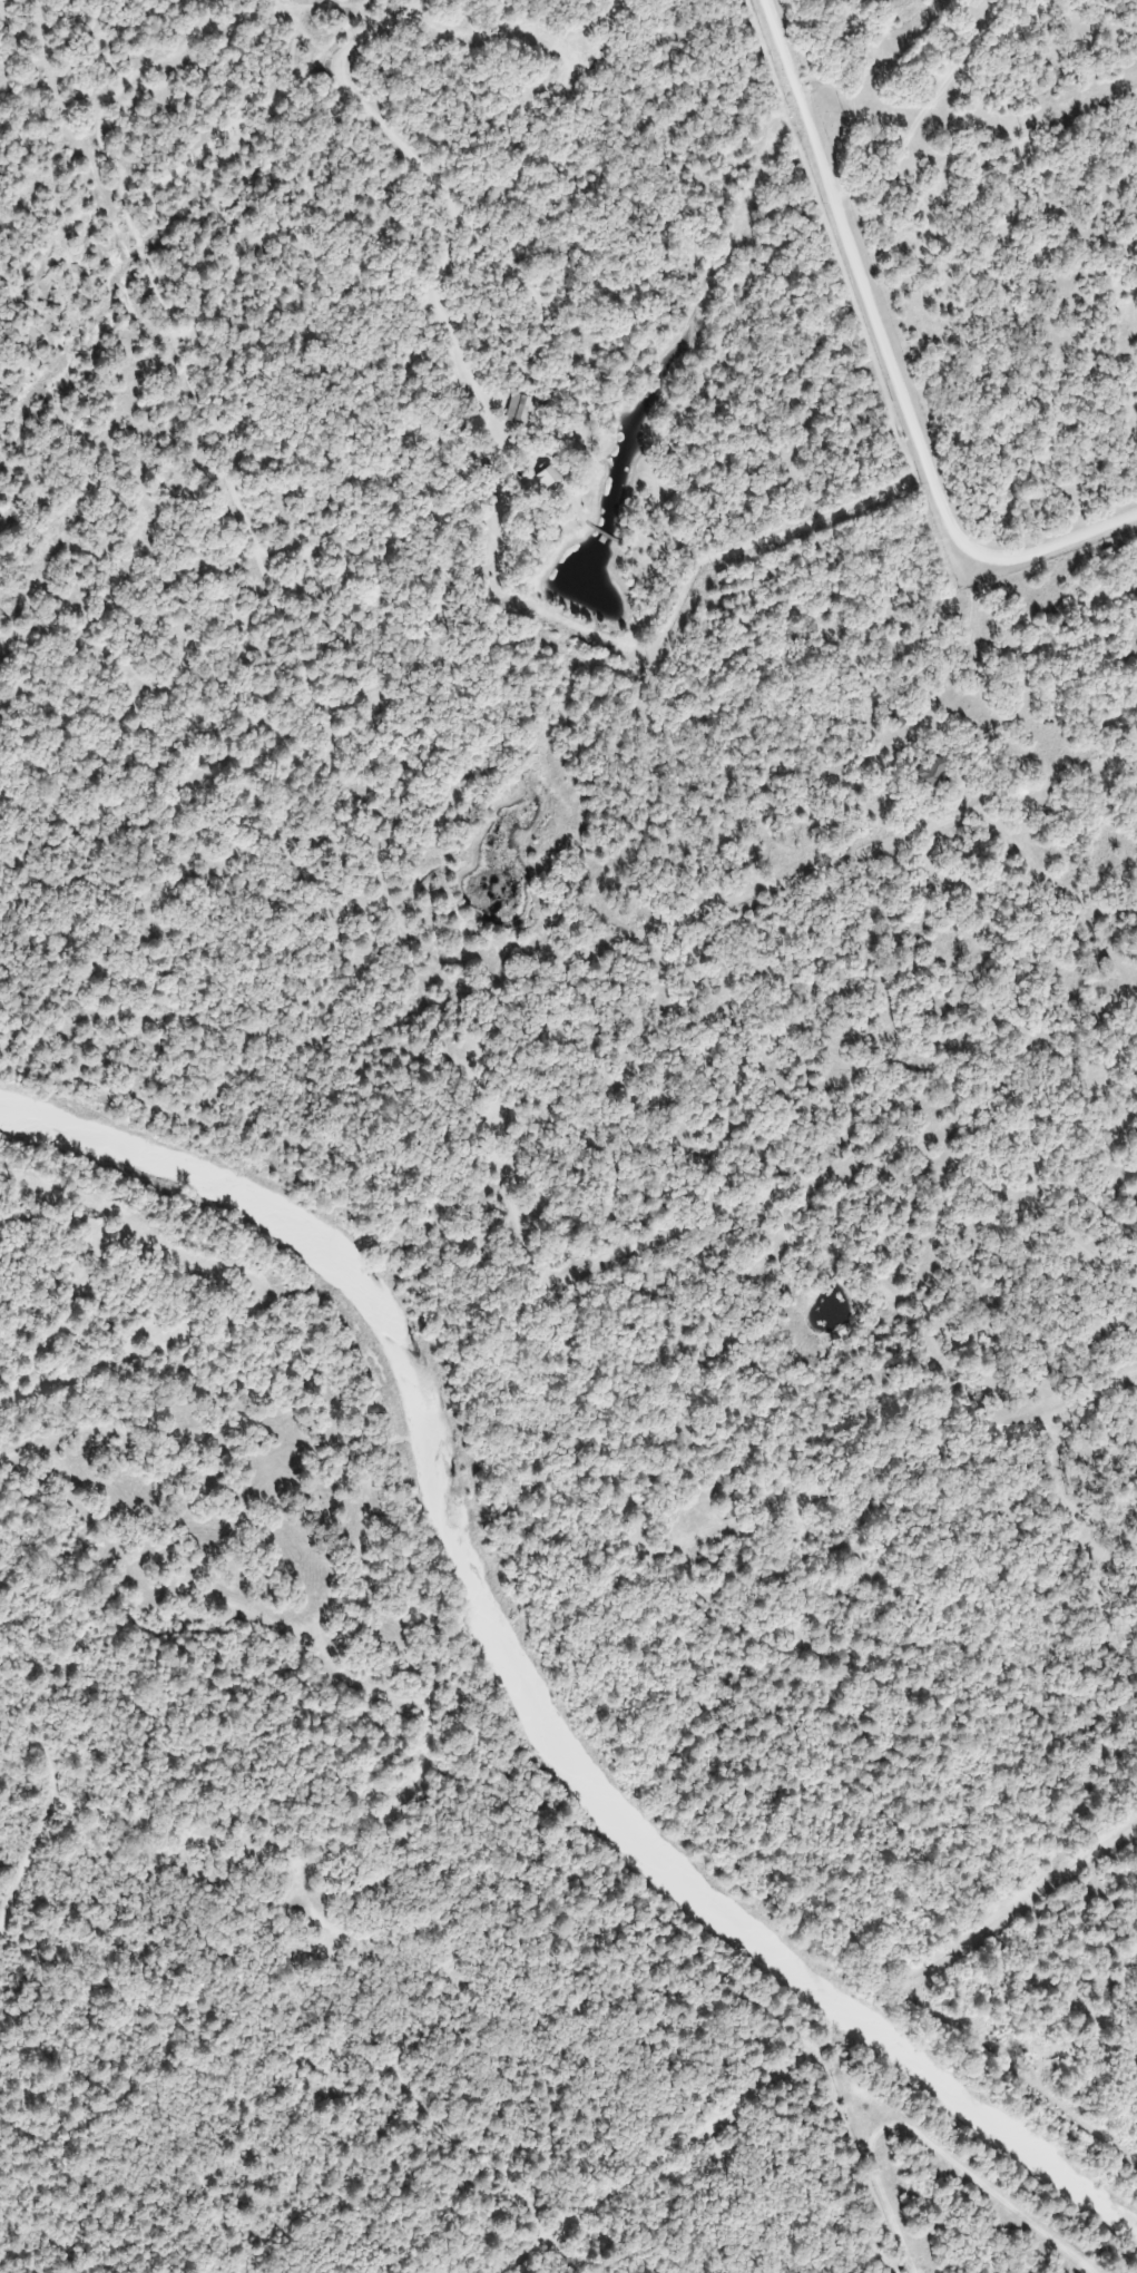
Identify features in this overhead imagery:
building: (513, 410)

